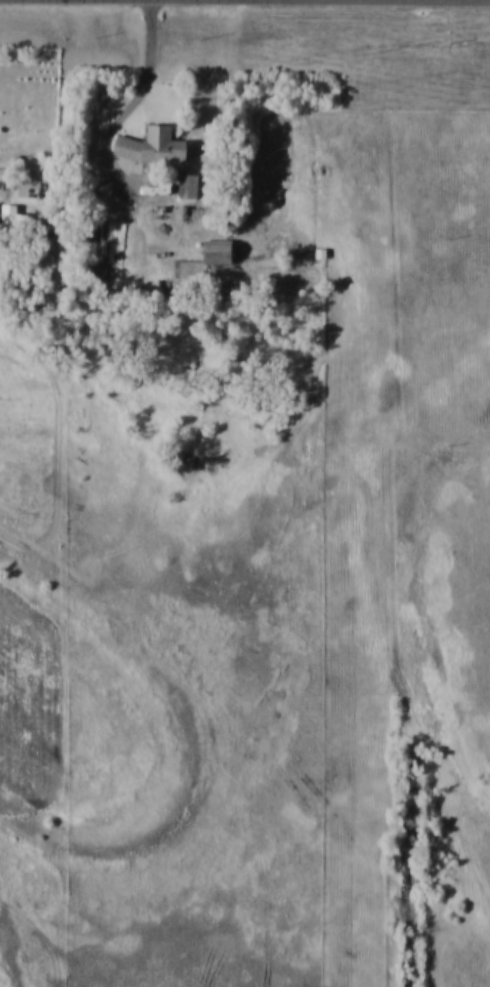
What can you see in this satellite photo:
road: (141, 91)
building: (148, 145)
building: (185, 185)
building: (11, 219)
building: (213, 252)

